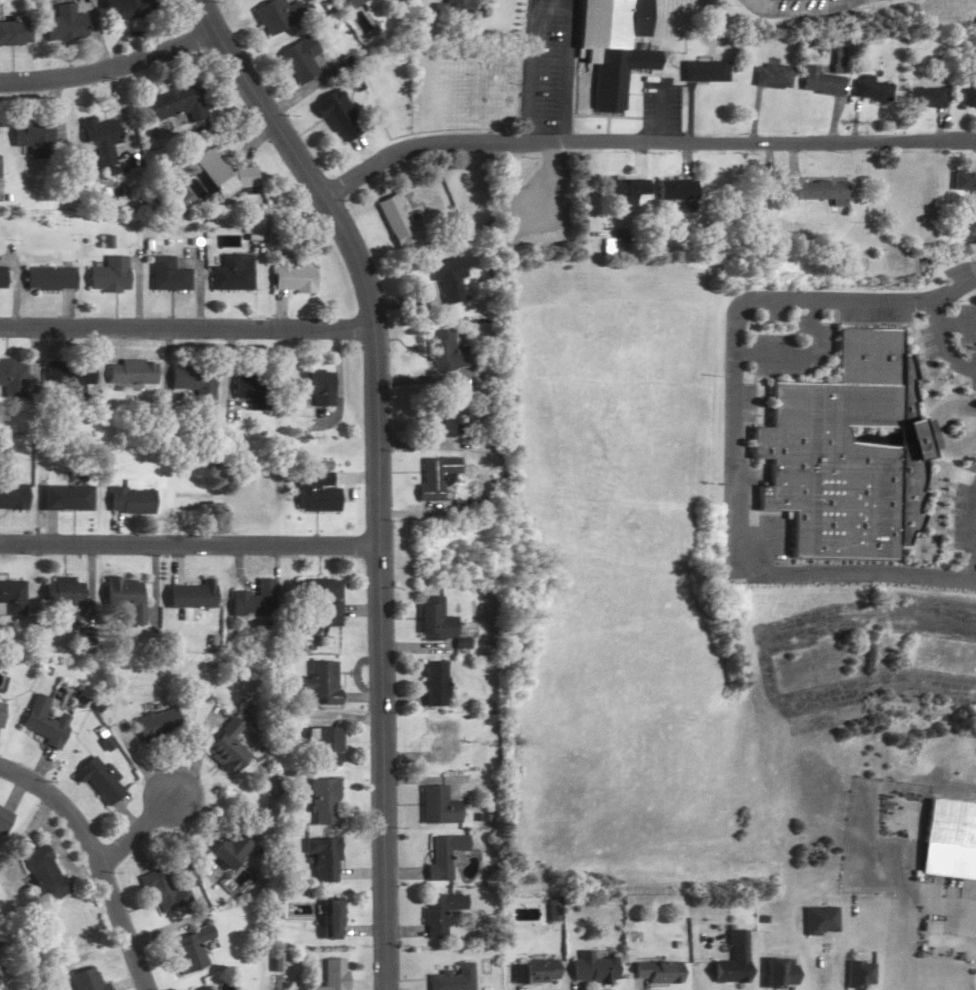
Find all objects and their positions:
building: (351, 4)
building: (455, 6)
road: (799, 8)
building: (128, 9)
building: (279, 15)
building: (65, 23)
building: (15, 33)
building: (612, 45)
building: (302, 58)
road: (110, 69)
building: (702, 71)
road: (563, 72)
building: (771, 76)
building: (822, 77)
building: (870, 89)
building: (968, 96)
building: (923, 97)
building: (180, 100)
building: (340, 114)
building: (35, 136)
building: (101, 138)
road: (642, 143)
road: (296, 159)
building: (223, 174)
building: (964, 181)
building: (674, 189)
building: (812, 189)
building: (625, 193)
building: (396, 221)
building: (234, 273)
building: (112, 274)
building: (170, 274)
building: (3, 277)
building: (51, 277)
building: (295, 277)
building: (447, 279)
road: (956, 323)
road: (187, 327)
road: (942, 343)
building: (445, 350)
road: (802, 355)
building: (133, 372)
building: (13, 373)
building: (72, 376)
building: (196, 382)
building: (318, 386)
building: (255, 390)
road: (942, 412)
building: (442, 413)
road: (973, 416)
road: (738, 429)
road: (975, 430)
building: (847, 456)
building: (434, 475)
building: (312, 494)
building: (13, 496)
building: (65, 497)
building: (128, 500)
road: (973, 543)
road: (188, 544)
road: (974, 546)
building: (190, 594)
building: (12, 596)
building: (124, 596)
building: (63, 597)
building: (323, 597)
building: (251, 600)
building: (433, 623)
road: (378, 659)
building: (319, 681)
building: (433, 683)
building: (0, 707)
building: (42, 722)
building: (155, 724)
building: (440, 741)
building: (321, 746)
building: (225, 747)
building: (96, 781)
building: (321, 801)
building: (436, 806)
building: (2, 817)
road: (135, 830)
building: (950, 840)
building: (227, 849)
building: (444, 856)
building: (322, 858)
road: (94, 861)
building: (41, 873)
building: (162, 892)
building: (440, 912)
building: (327, 918)
building: (821, 920)
building: (190, 948)
building: (733, 959)
building: (592, 968)
building: (533, 970)
building: (657, 972)
building: (779, 972)
building: (858, 973)
building: (331, 974)
building: (452, 978)
building: (83, 980)
building: (201, 989)

